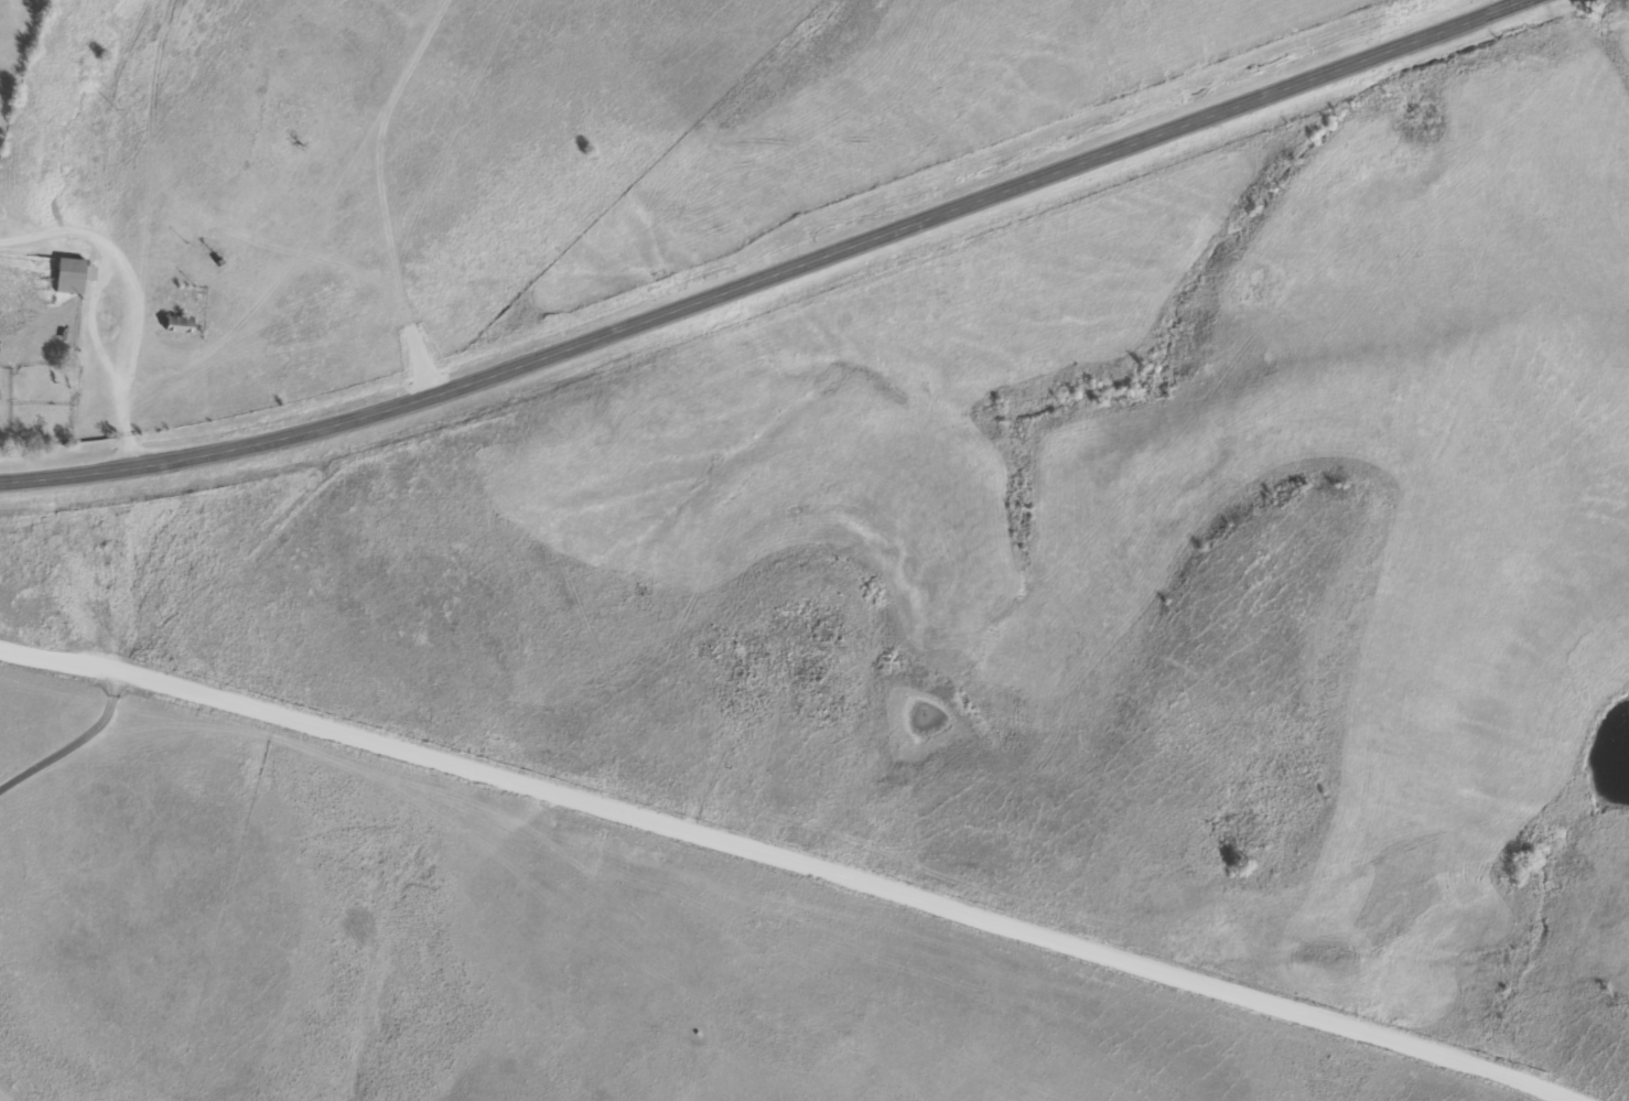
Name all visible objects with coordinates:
road: (768, 272)
building: (74, 276)
building: (179, 324)
road: (64, 727)
road: (783, 868)

